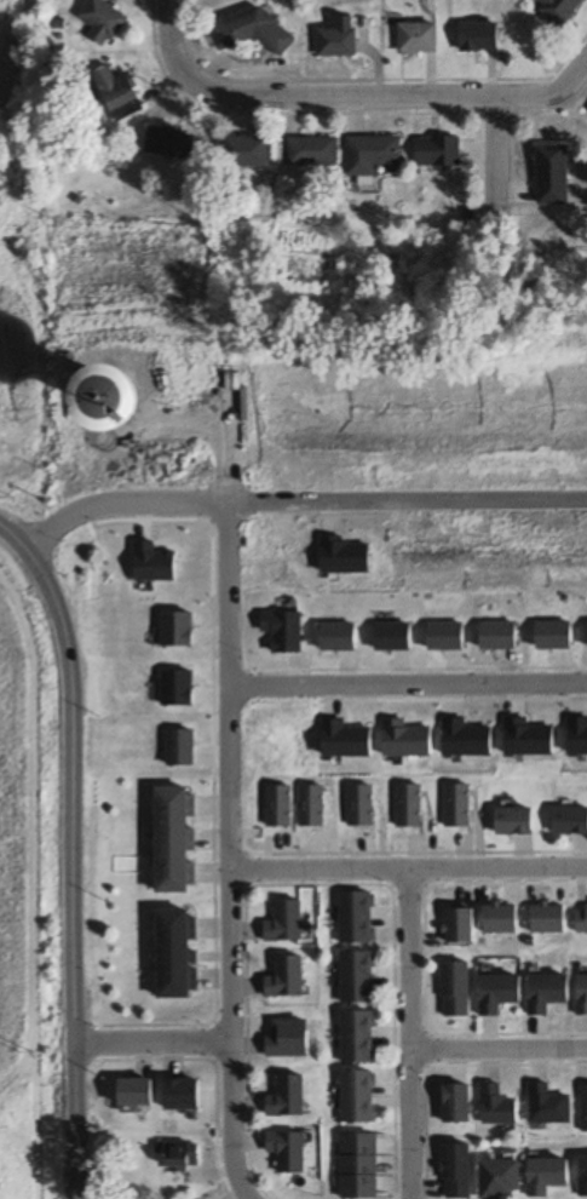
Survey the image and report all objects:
building: (560, 11)
building: (102, 22)
building: (249, 31)
building: (479, 38)
building: (418, 39)
building: (338, 40)
building: (116, 91)
road: (352, 98)
building: (169, 143)
road: (501, 147)
building: (246, 151)
building: (312, 151)
building: (438, 151)
building: (370, 154)
building: (552, 174)
crop: (19, 239)
water tower: (96, 396)
road: (299, 500)
road: (407, 687)
building: (457, 804)
building: (408, 808)
building: (516, 821)
building: (570, 821)
road: (75, 849)
road: (228, 851)
road: (408, 867)
building: (356, 916)
building: (581, 917)
building: (501, 918)
building: (548, 918)
building: (460, 925)
building: (356, 976)
building: (500, 992)
building: (546, 992)
building: (582, 996)
road: (408, 1033)
building: (357, 1037)
road: (152, 1043)
road: (497, 1051)
power tower: (16, 1060)
building: (357, 1097)
building: (547, 1106)
building: (496, 1107)
building: (182, 1153)
building: (359, 1166)
building: (500, 1178)

